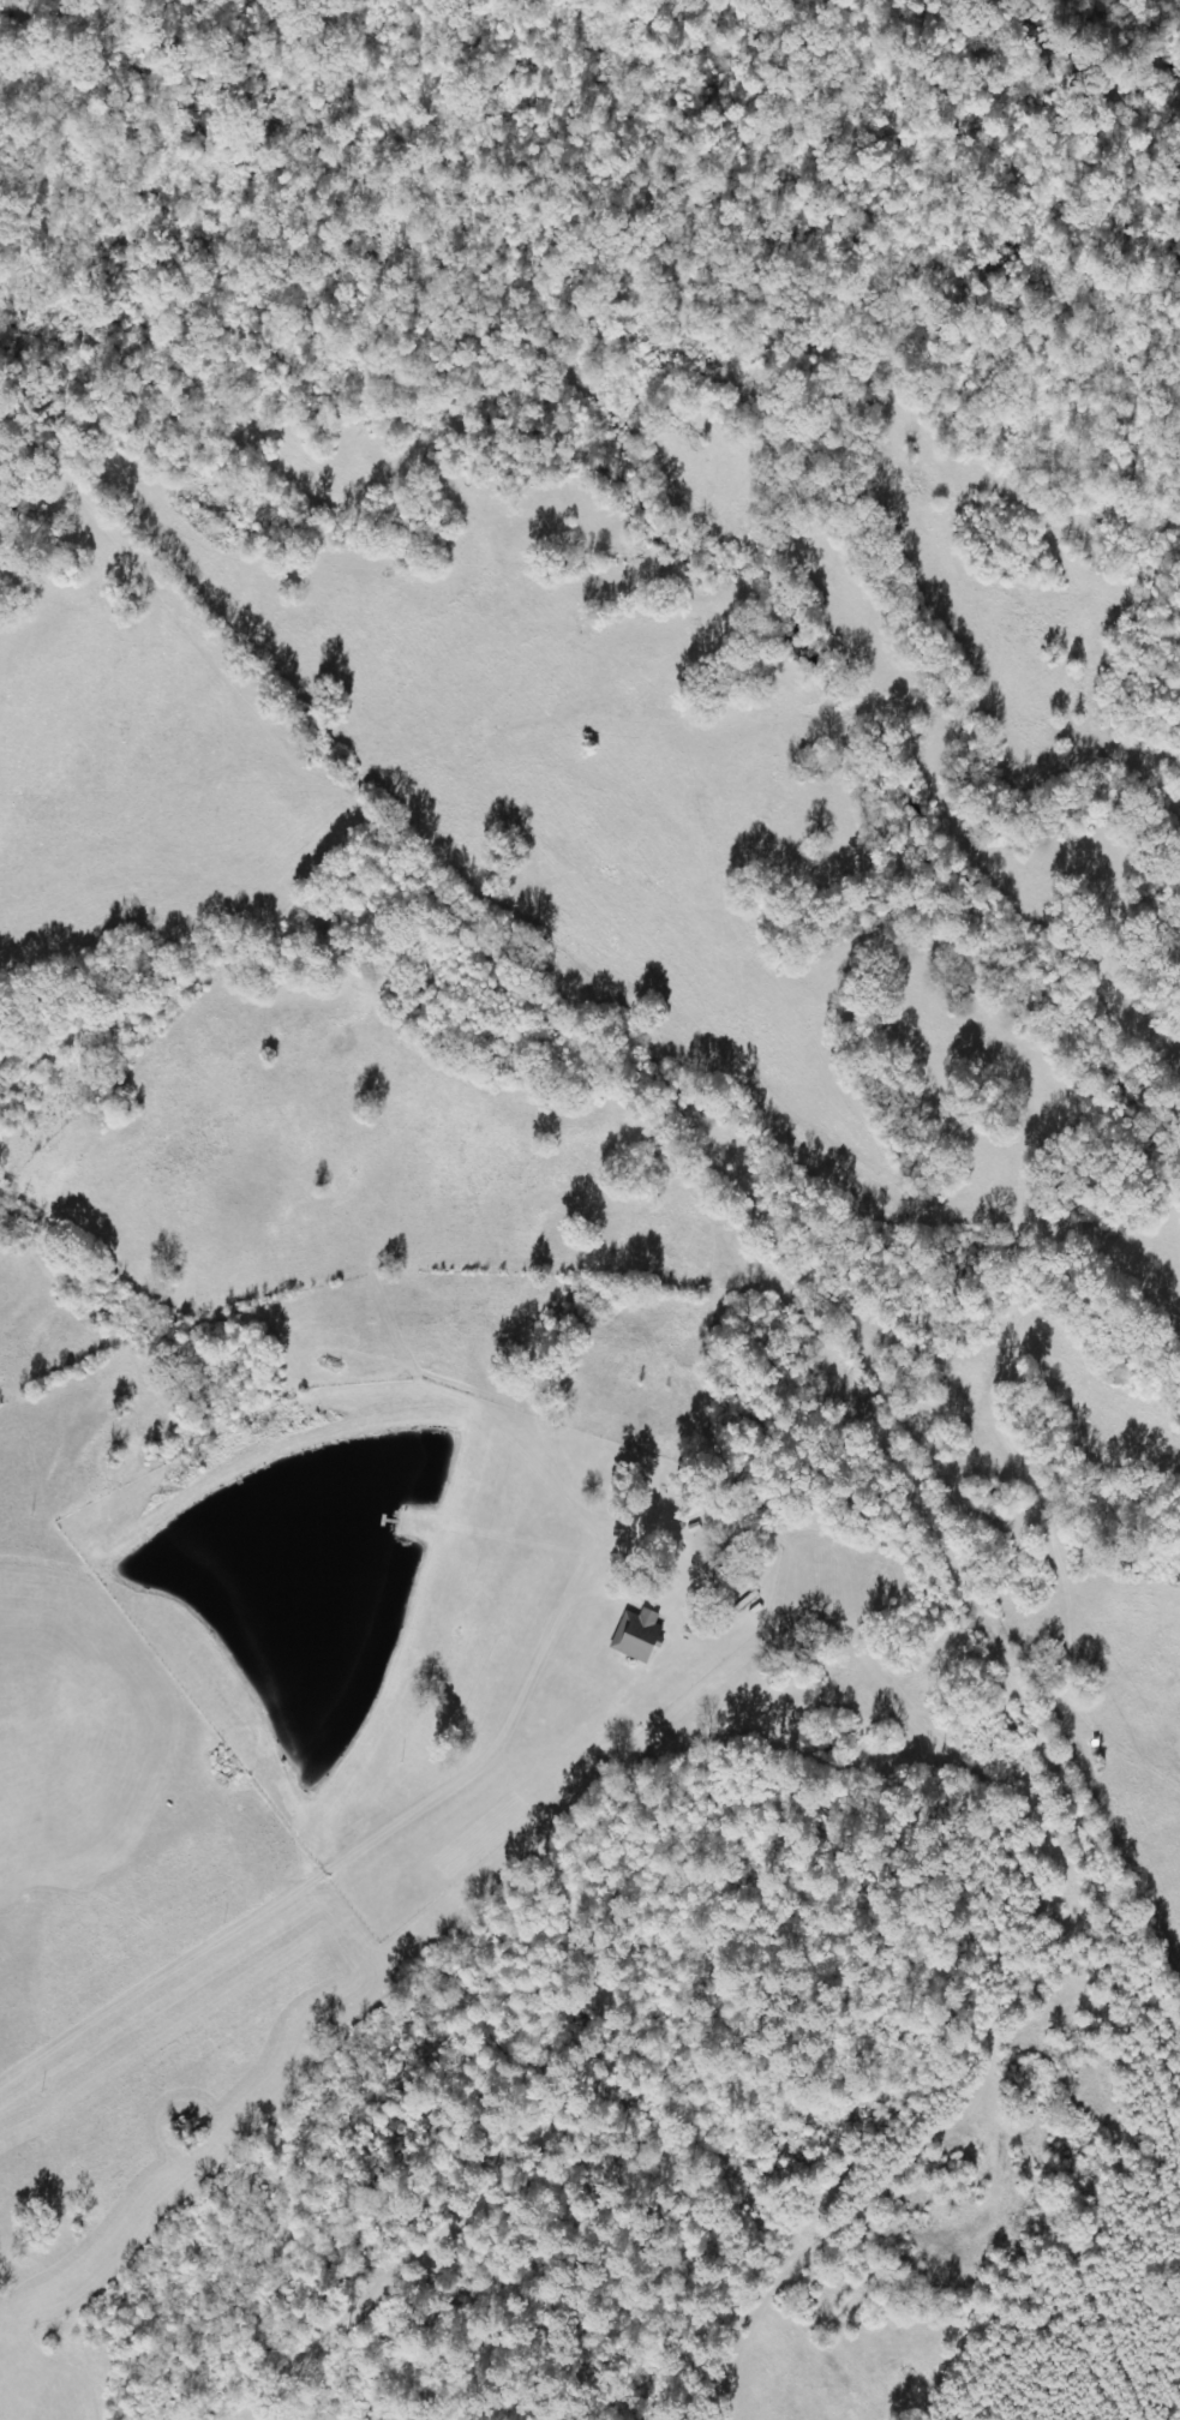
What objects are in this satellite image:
building: (641, 1636)

